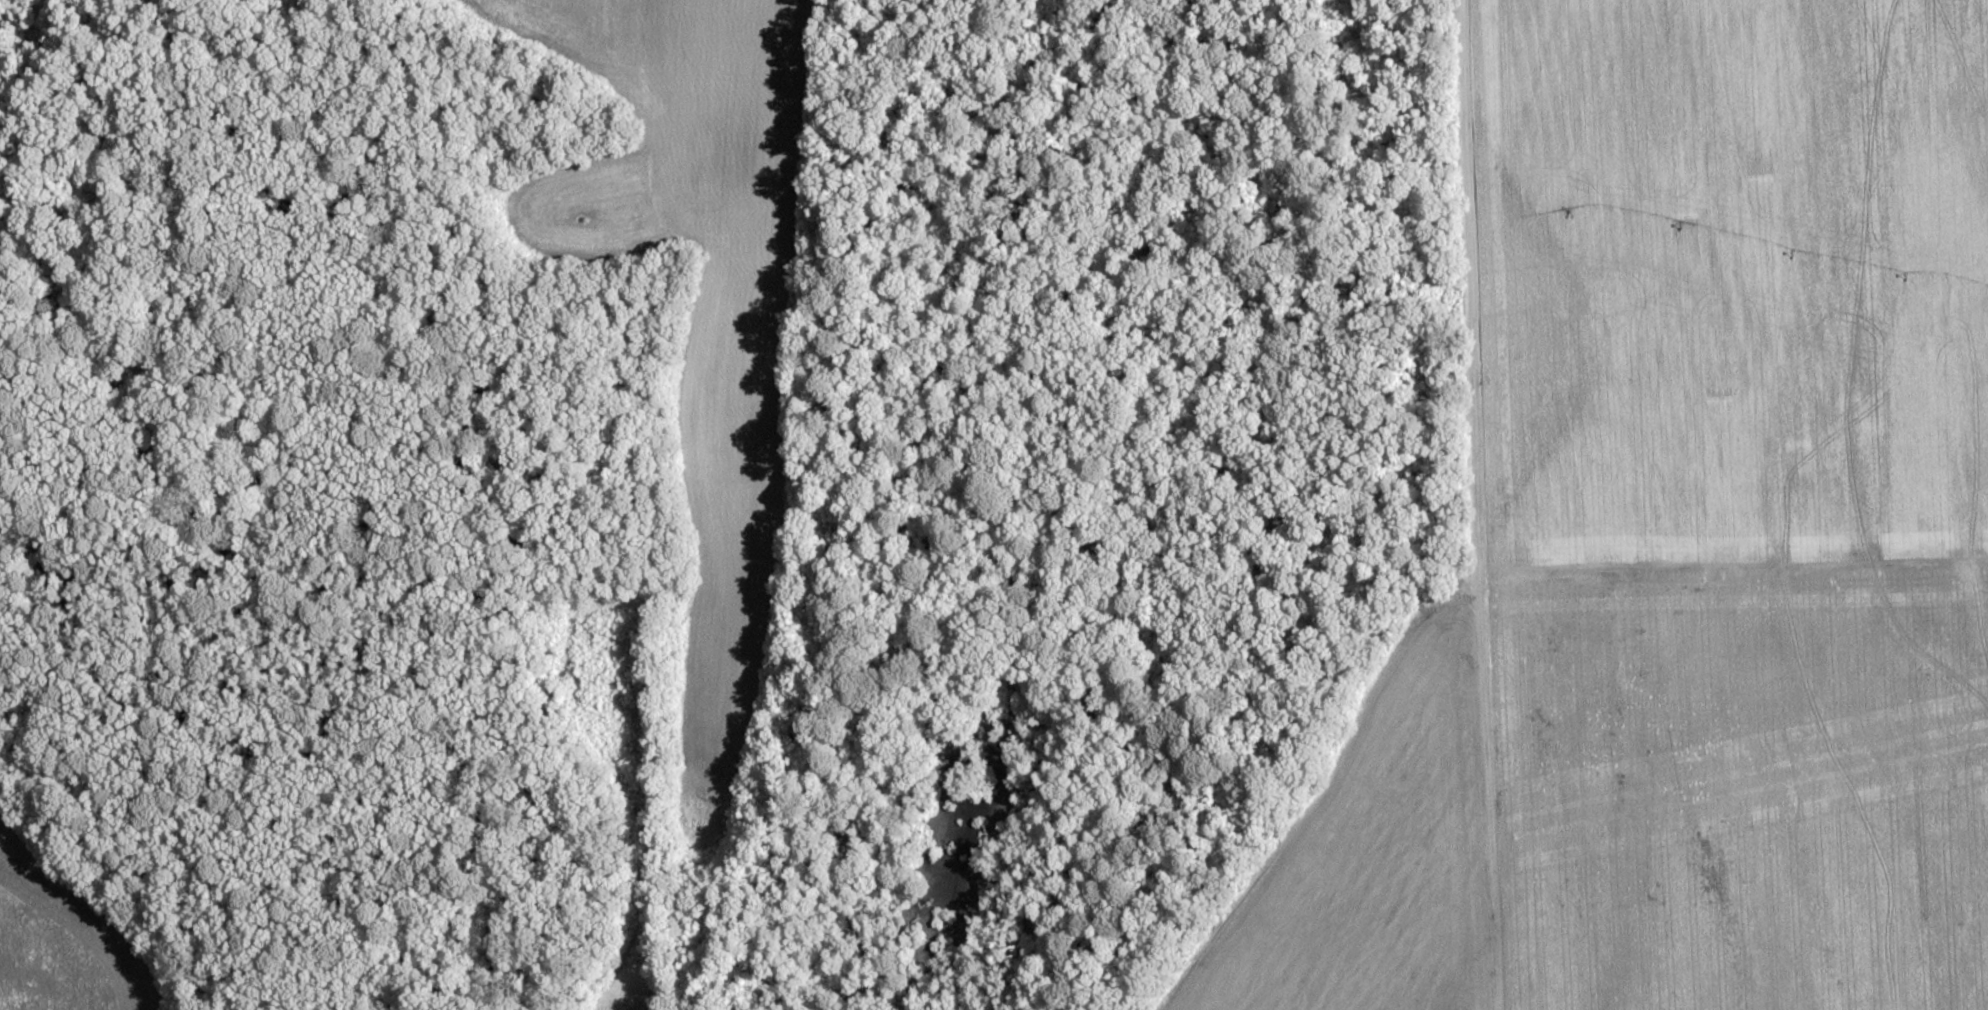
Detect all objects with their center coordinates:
road: (1473, 505)

